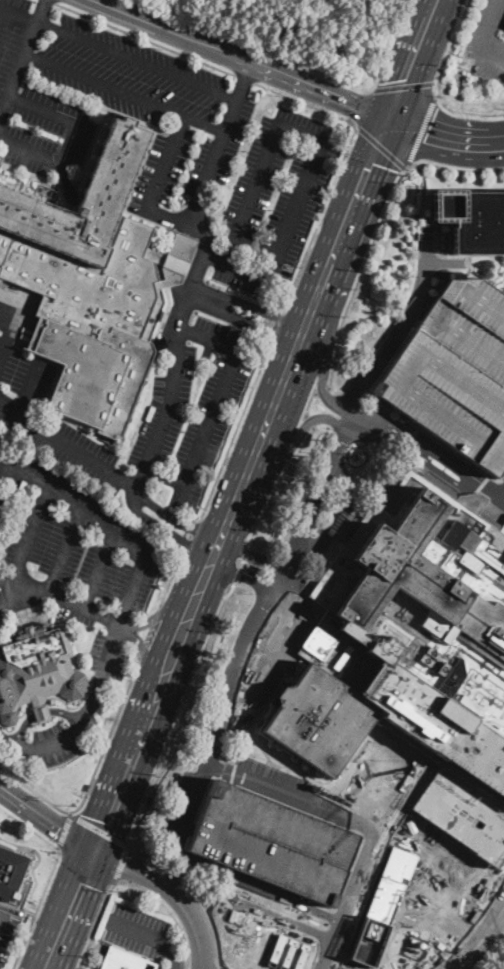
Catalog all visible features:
road: (51, 2)
road: (0, 12)
road: (41, 12)
road: (135, 17)
road: (487, 33)
road: (146, 39)
parking lot: (487, 41)
road: (214, 48)
road: (385, 50)
road: (118, 55)
road: (18, 69)
road: (243, 77)
road: (244, 78)
traffic signals: (407, 78)
road: (437, 81)
road: (403, 86)
road: (320, 89)
road: (123, 94)
traffic signals: (352, 102)
road: (304, 103)
road: (358, 105)
road: (352, 121)
traffic signals: (431, 125)
road: (422, 129)
road: (447, 129)
road: (300, 133)
parking lot: (167, 137)
road: (67, 140)
road: (380, 145)
road: (441, 151)
road: (213, 159)
traffic signals: (370, 162)
road: (165, 164)
road: (453, 168)
road: (254, 195)
road: (293, 209)
road: (319, 219)
building: (472, 220)
road: (179, 222)
road: (433, 230)
road: (442, 263)
road: (234, 266)
building: (93, 283)
road: (198, 294)
road: (256, 310)
road: (251, 322)
road: (277, 326)
road: (340, 330)
road: (10, 335)
road: (207, 339)
road: (175, 363)
road: (321, 365)
building: (456, 372)
parking lot: (456, 372)
road: (323, 388)
road: (30, 389)
road: (308, 401)
parking lot: (193, 402)
road: (309, 421)
road: (266, 423)
road: (347, 425)
road: (208, 427)
road: (236, 429)
road: (413, 434)
road: (435, 436)
road: (294, 441)
road: (67, 446)
road: (430, 446)
road: (409, 462)
road: (443, 473)
road: (164, 477)
road: (501, 477)
road: (277, 482)
road: (447, 483)
road: (479, 487)
parking lot: (2, 502)
road: (348, 514)
road: (176, 521)
road: (165, 531)
road: (193, 535)
road: (21, 544)
road: (61, 552)
road: (255, 557)
road: (239, 564)
road: (95, 570)
road: (246, 580)
road: (170, 581)
parking lot: (73, 588)
road: (303, 589)
building: (426, 590)
road: (60, 596)
road: (124, 604)
road: (159, 615)
road: (146, 635)
road: (143, 651)
road: (403, 666)
building: (37, 670)
road: (268, 680)
building: (40, 710)
road: (179, 716)
building: (316, 718)
road: (216, 727)
road: (261, 747)
road: (296, 766)
road: (310, 773)
road: (311, 778)
road: (93, 779)
parking lot: (281, 785)
road: (292, 795)
road: (47, 816)
road: (345, 822)
road: (29, 828)
road: (99, 829)
road: (64, 830)
road: (183, 832)
building: (273, 844)
parking garage: (273, 844)
traffic signals: (95, 847)
road: (121, 863)
road: (87, 866)
building: (11, 873)
road: (195, 888)
road: (170, 890)
road: (348, 902)
building: (383, 904)
road: (35, 908)
road: (69, 908)
road: (167, 910)
road: (2, 912)
road: (502, 913)
road: (283, 916)
road: (2, 919)
road: (95, 925)
parking lot: (8, 928)
road: (468, 928)
parking lot: (141, 934)
road: (153, 937)
road: (482, 941)
road: (491, 953)
building: (124, 959)
road: (217, 967)
road: (222, 967)
road: (461, 967)

